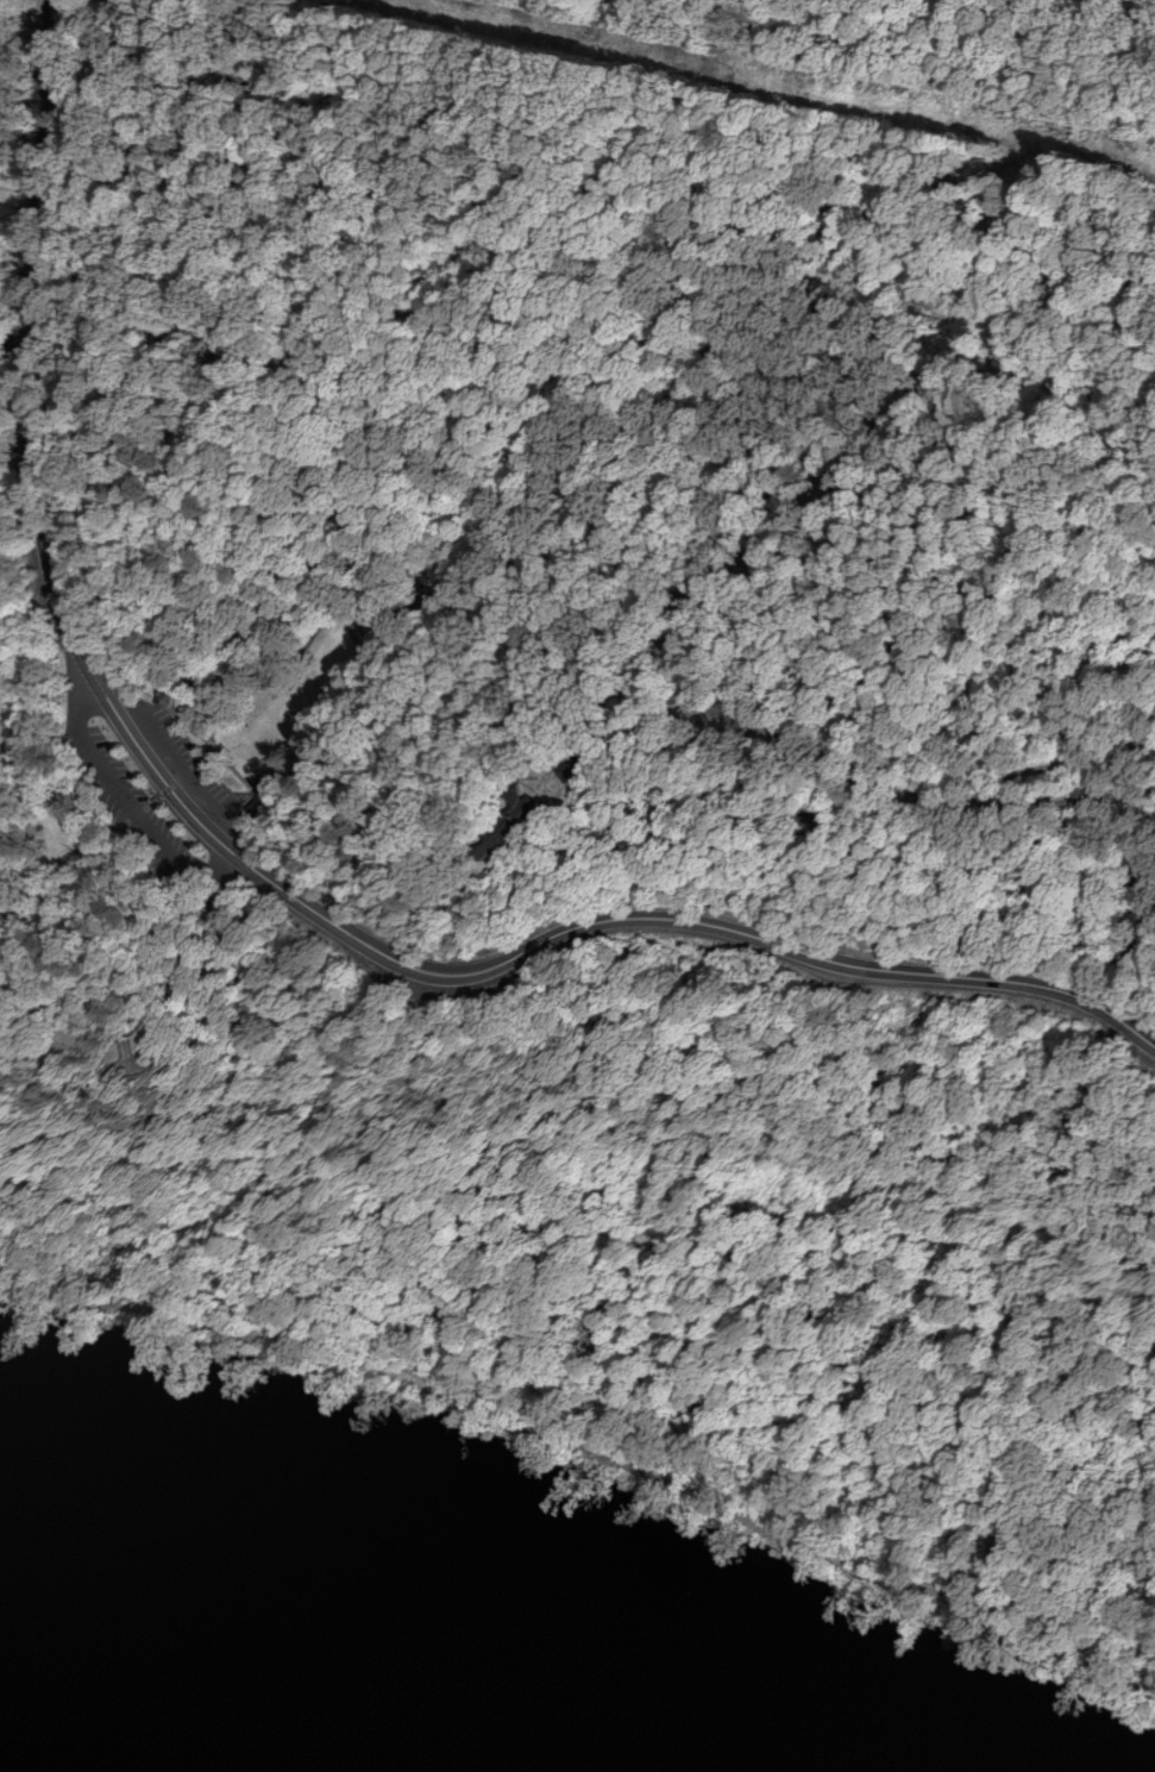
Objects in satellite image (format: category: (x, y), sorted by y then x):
road: (27, 107)
road: (12, 136)
road: (786, 490)
road: (615, 512)
road: (407, 596)
road: (582, 609)
road: (45, 664)
road: (174, 706)
road: (419, 728)
road: (208, 739)
road: (202, 758)
road: (186, 765)
road: (1038, 766)
road: (864, 775)
road: (241, 802)
road: (153, 810)
road: (358, 920)
road: (45, 1007)
park: (582, 1082)
road: (588, 1144)
road: (590, 1448)
river: (382, 1640)

